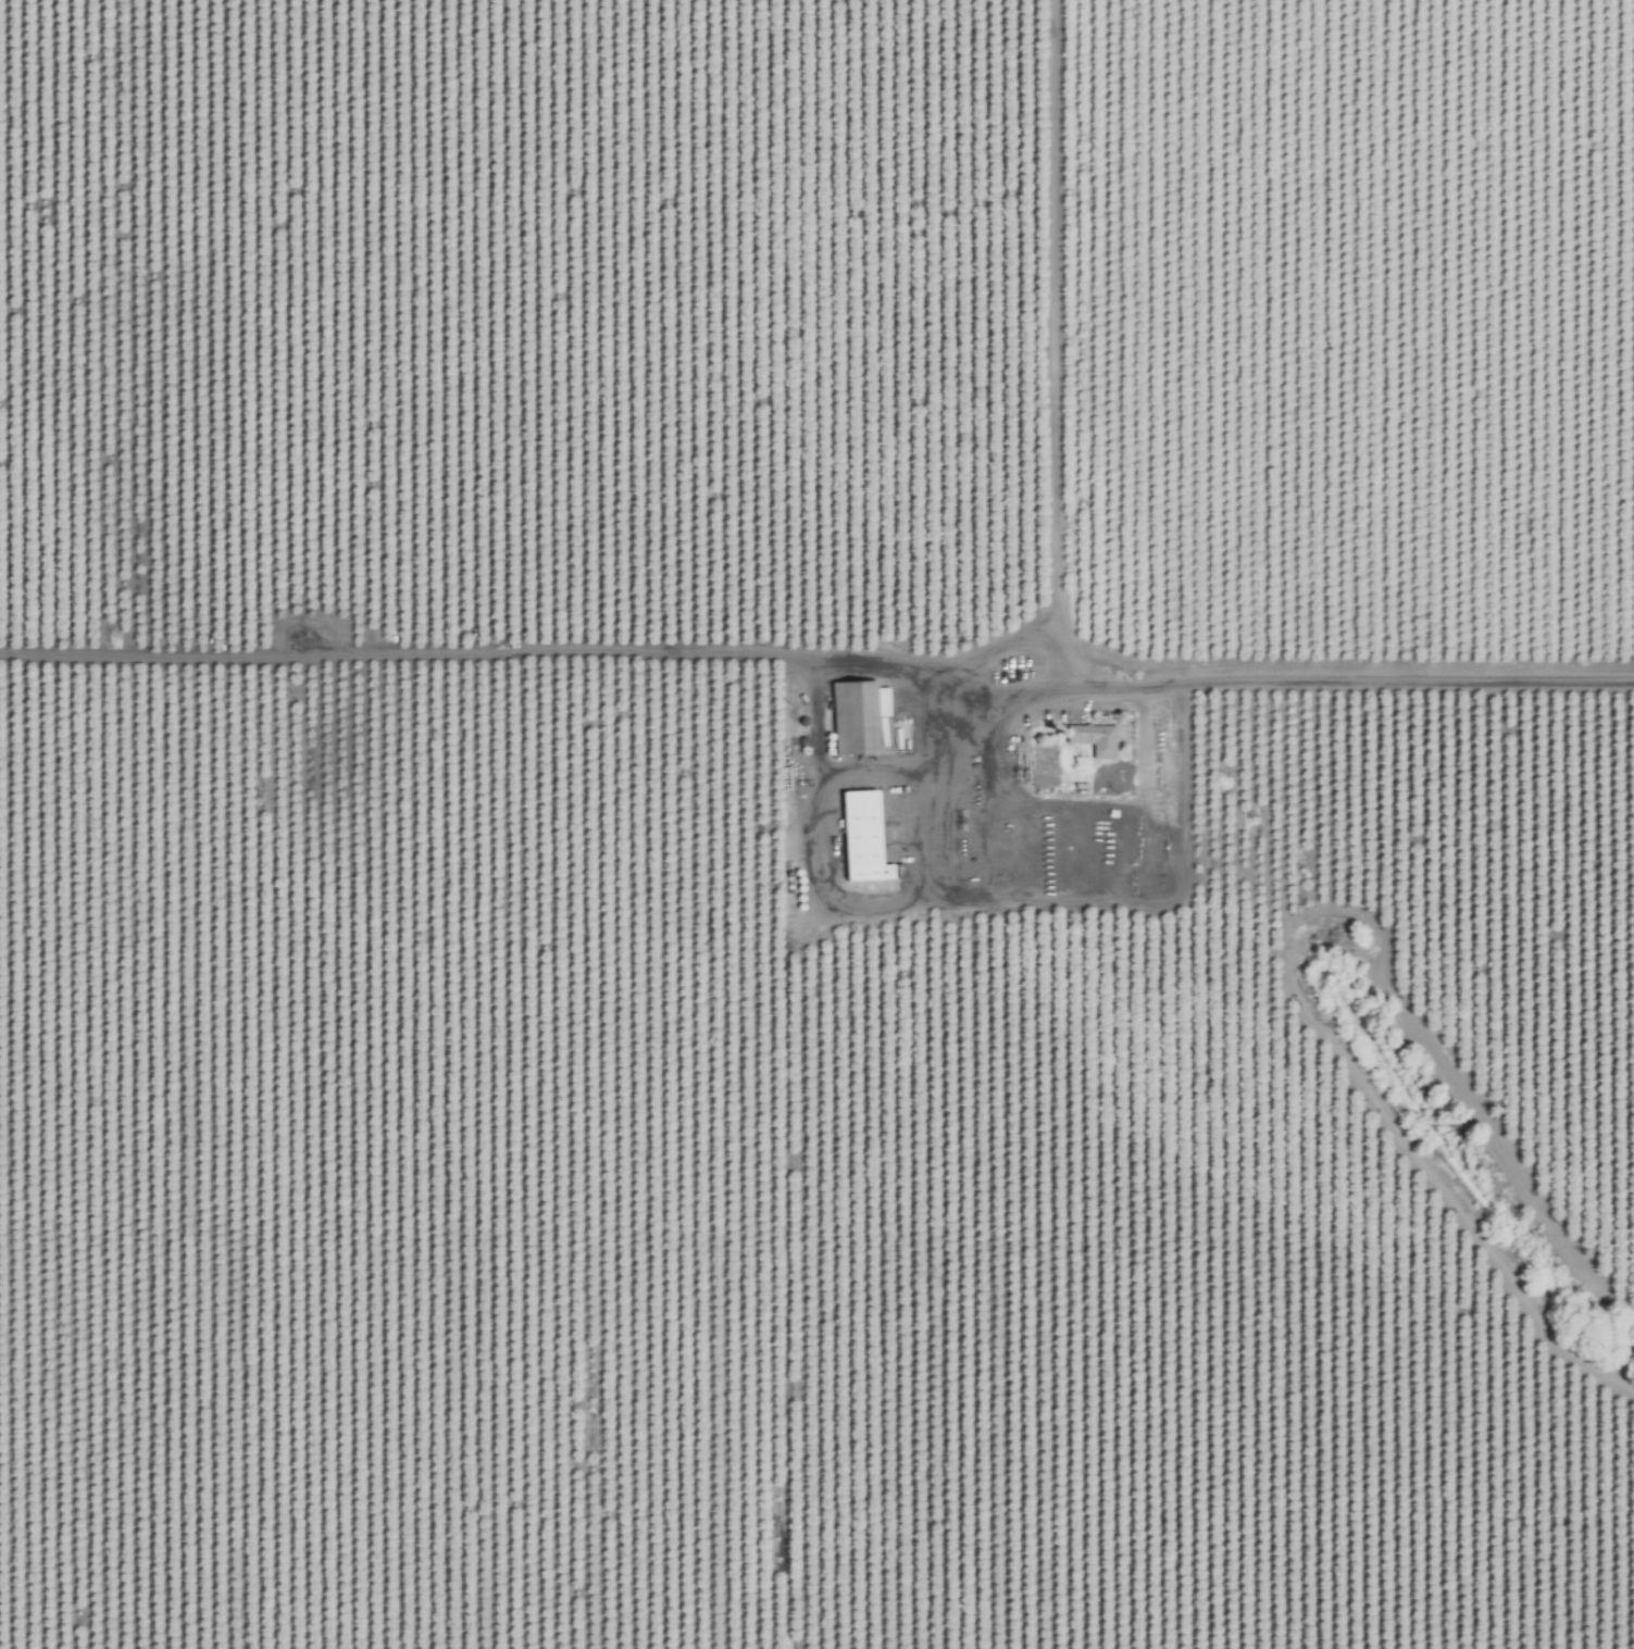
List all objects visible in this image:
road: (991, 644)
road: (884, 657)
road: (1348, 685)
building: (1094, 738)
road: (1313, 777)
building: (861, 836)
road: (818, 847)
road: (1071, 891)

